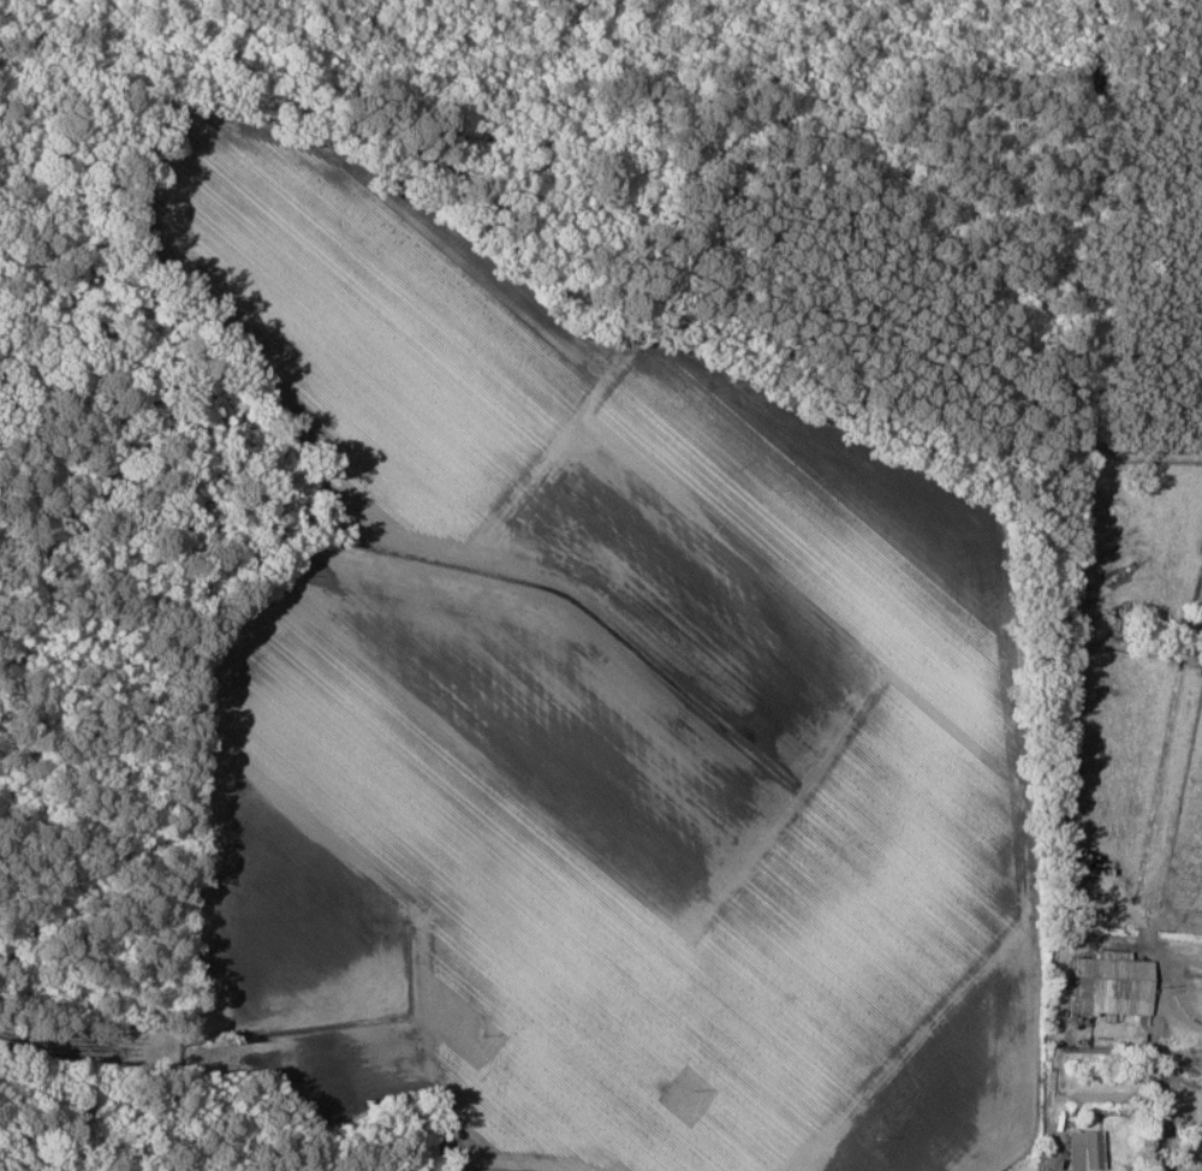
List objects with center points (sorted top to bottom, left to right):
building: (1111, 986)
road: (1063, 1014)
road: (1053, 1108)
building: (1085, 1149)

